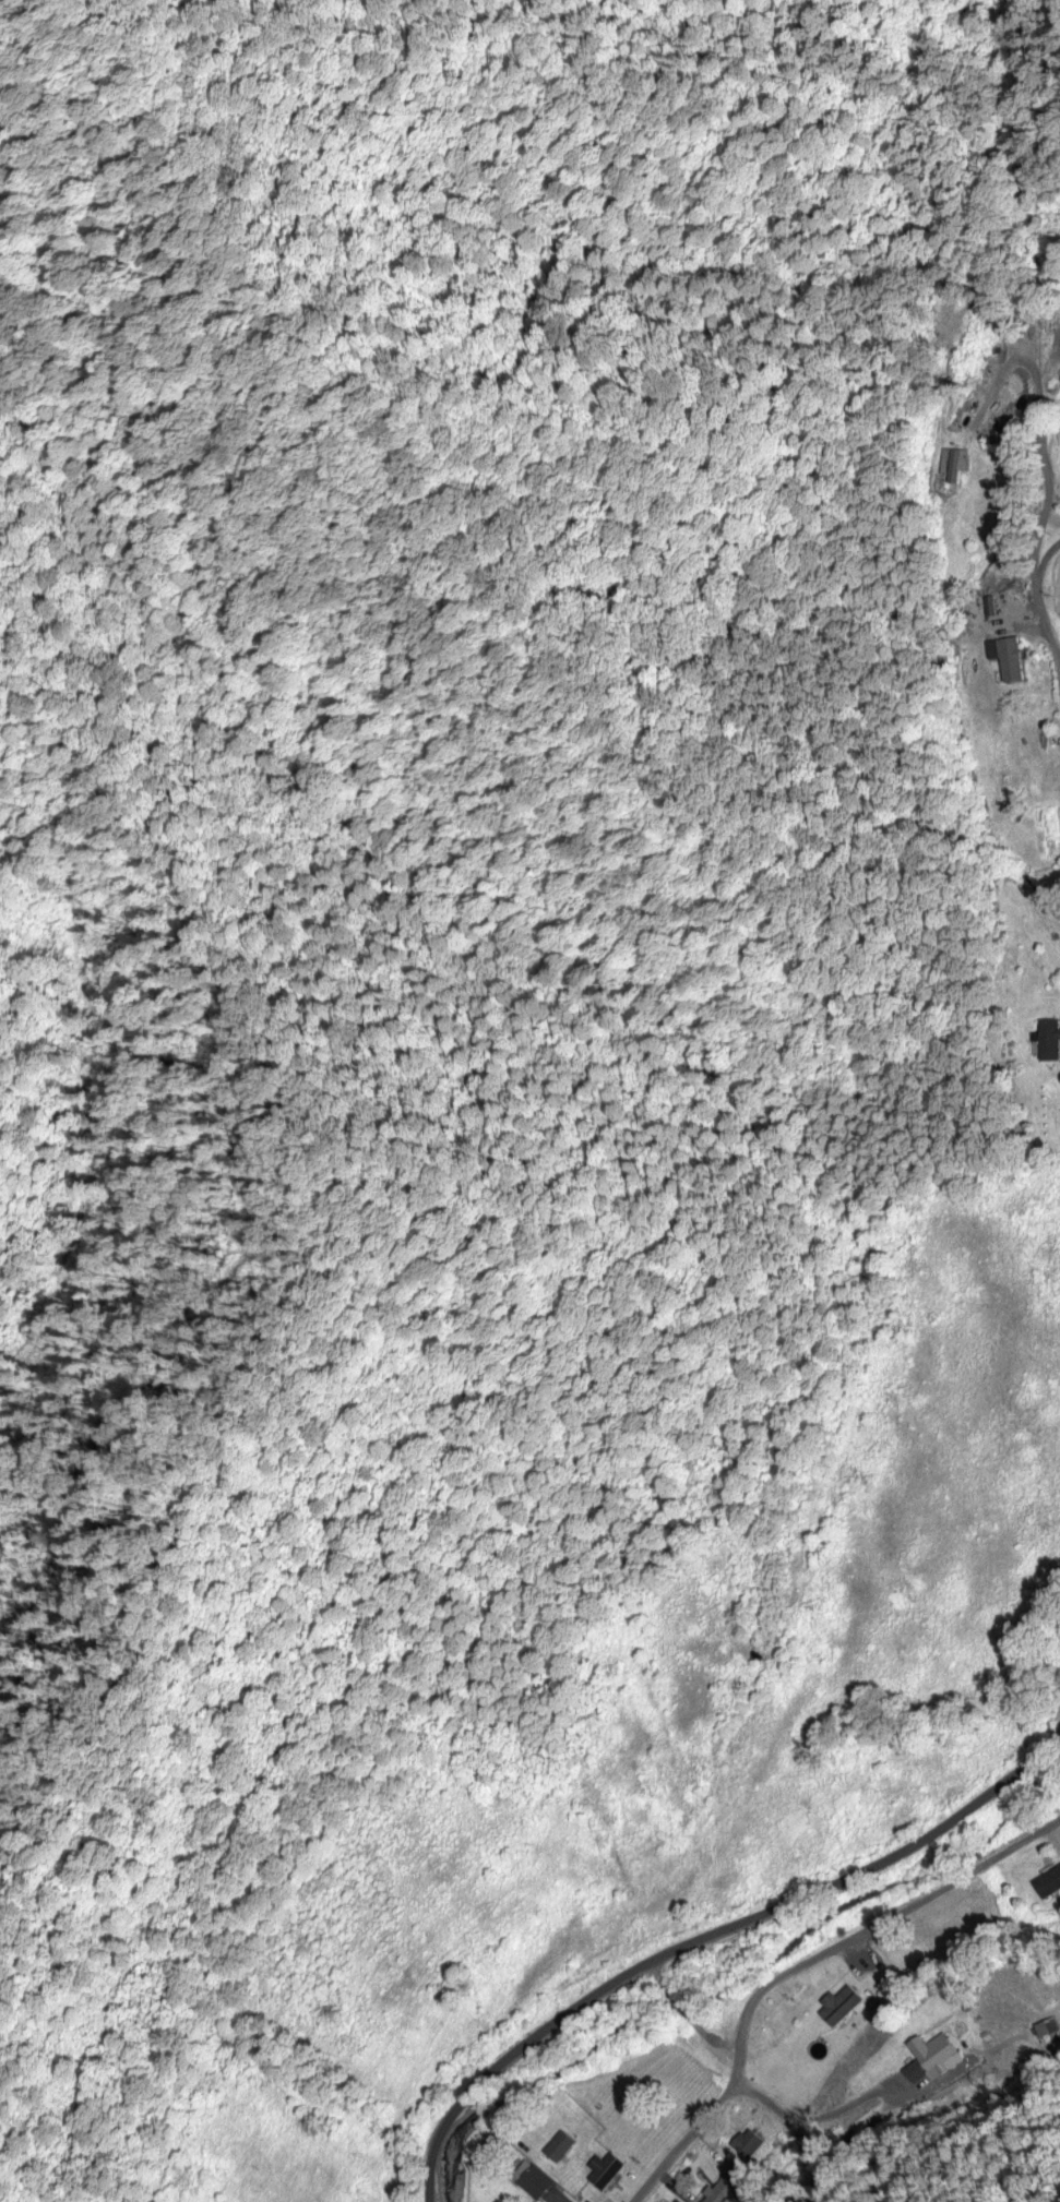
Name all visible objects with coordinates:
building: (1058, 327)
building: (953, 469)
road: (1044, 471)
road: (1044, 557)
building: (1010, 661)
building: (1047, 1041)
road: (1056, 1730)
building: (1048, 1882)
road: (707, 1941)
road: (798, 1964)
building: (920, 1966)
building: (909, 1974)
building: (904, 1978)
building: (838, 2006)
building: (1045, 2026)
building: (931, 2054)
building: (879, 2118)
road: (800, 2122)
building: (850, 2141)
building: (747, 2143)
building: (489, 2144)
building: (558, 2147)
building: (604, 2170)
building: (529, 2180)
building: (722, 2188)

